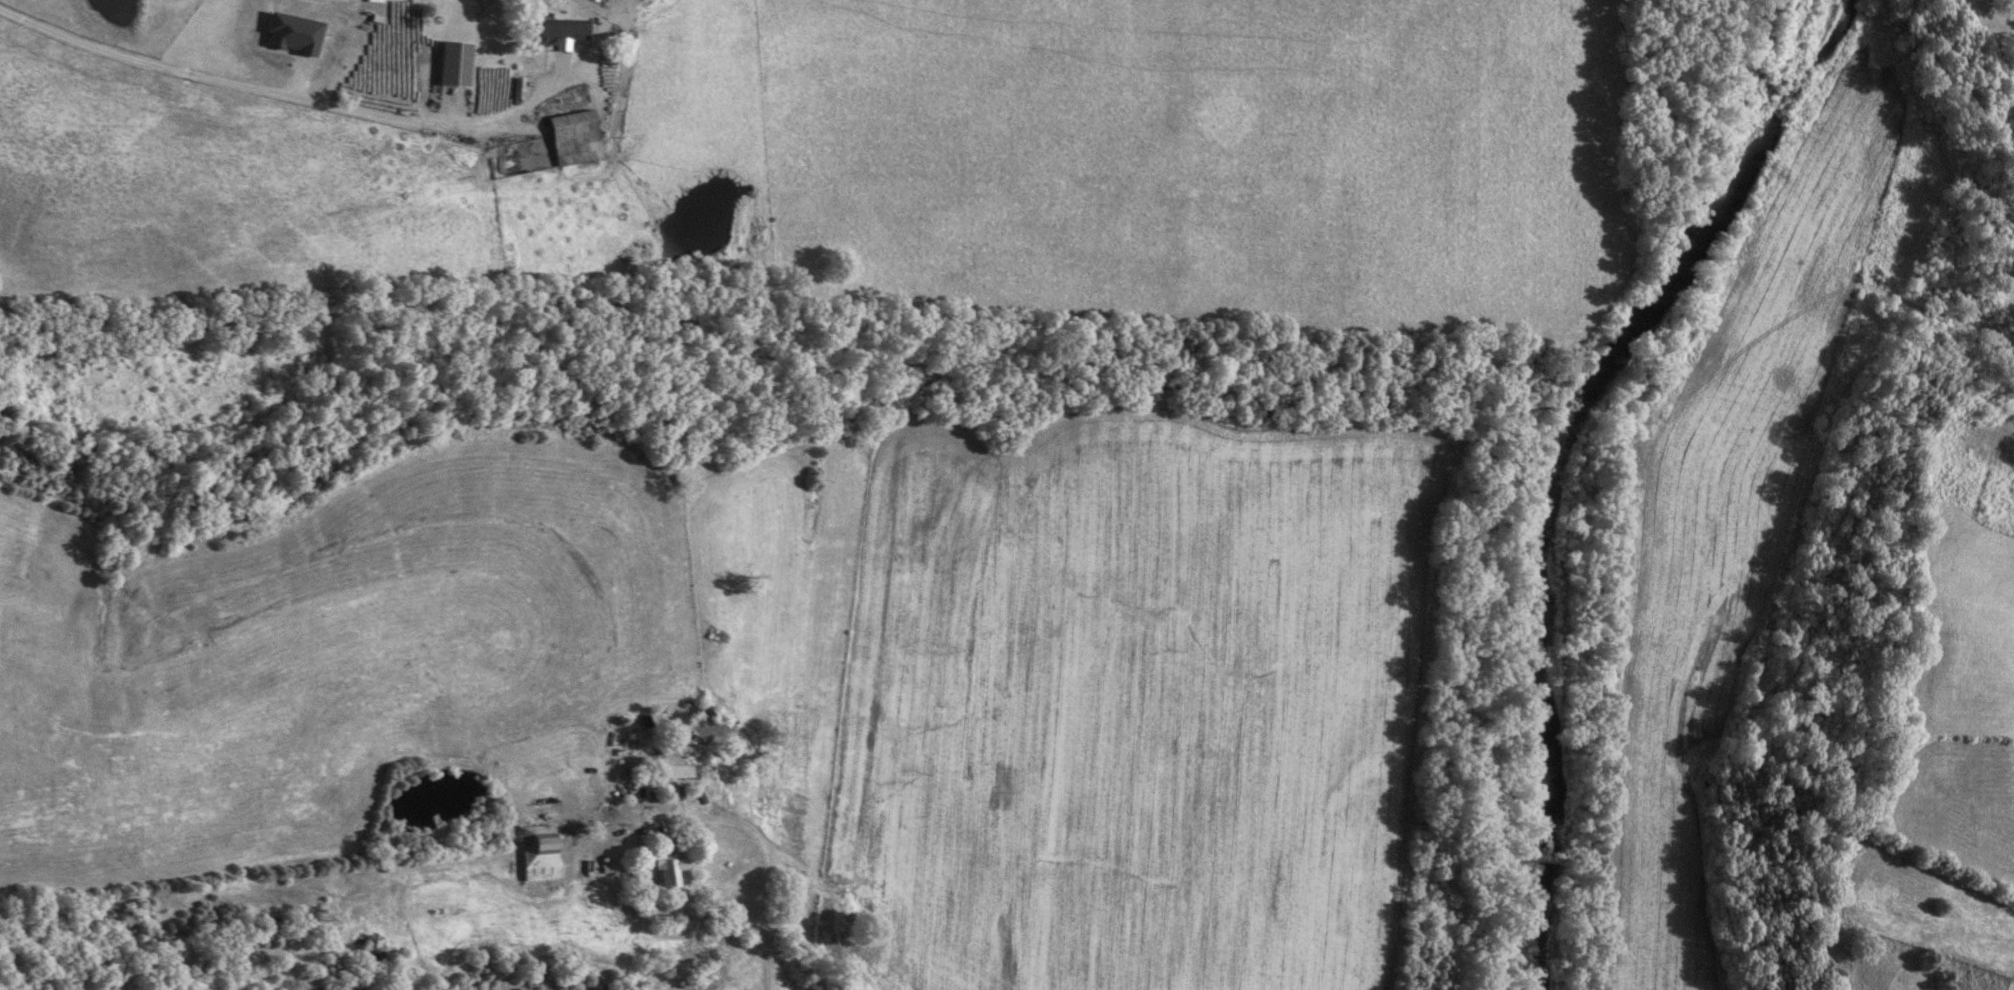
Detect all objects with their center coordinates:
building: (558, 31)
building: (450, 64)
road: (265, 73)
building: (572, 137)
building: (676, 770)
building: (534, 852)
road: (767, 856)
building: (663, 869)

